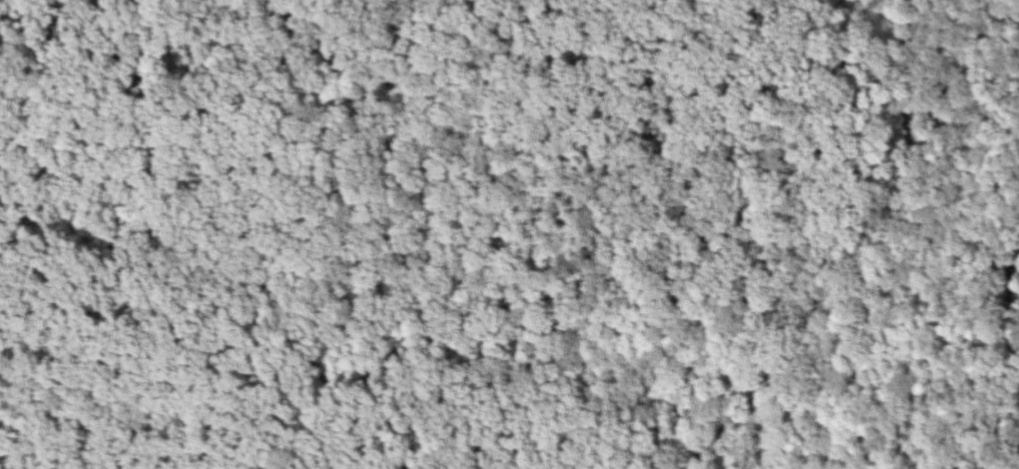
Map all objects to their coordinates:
road: (868, 259)

